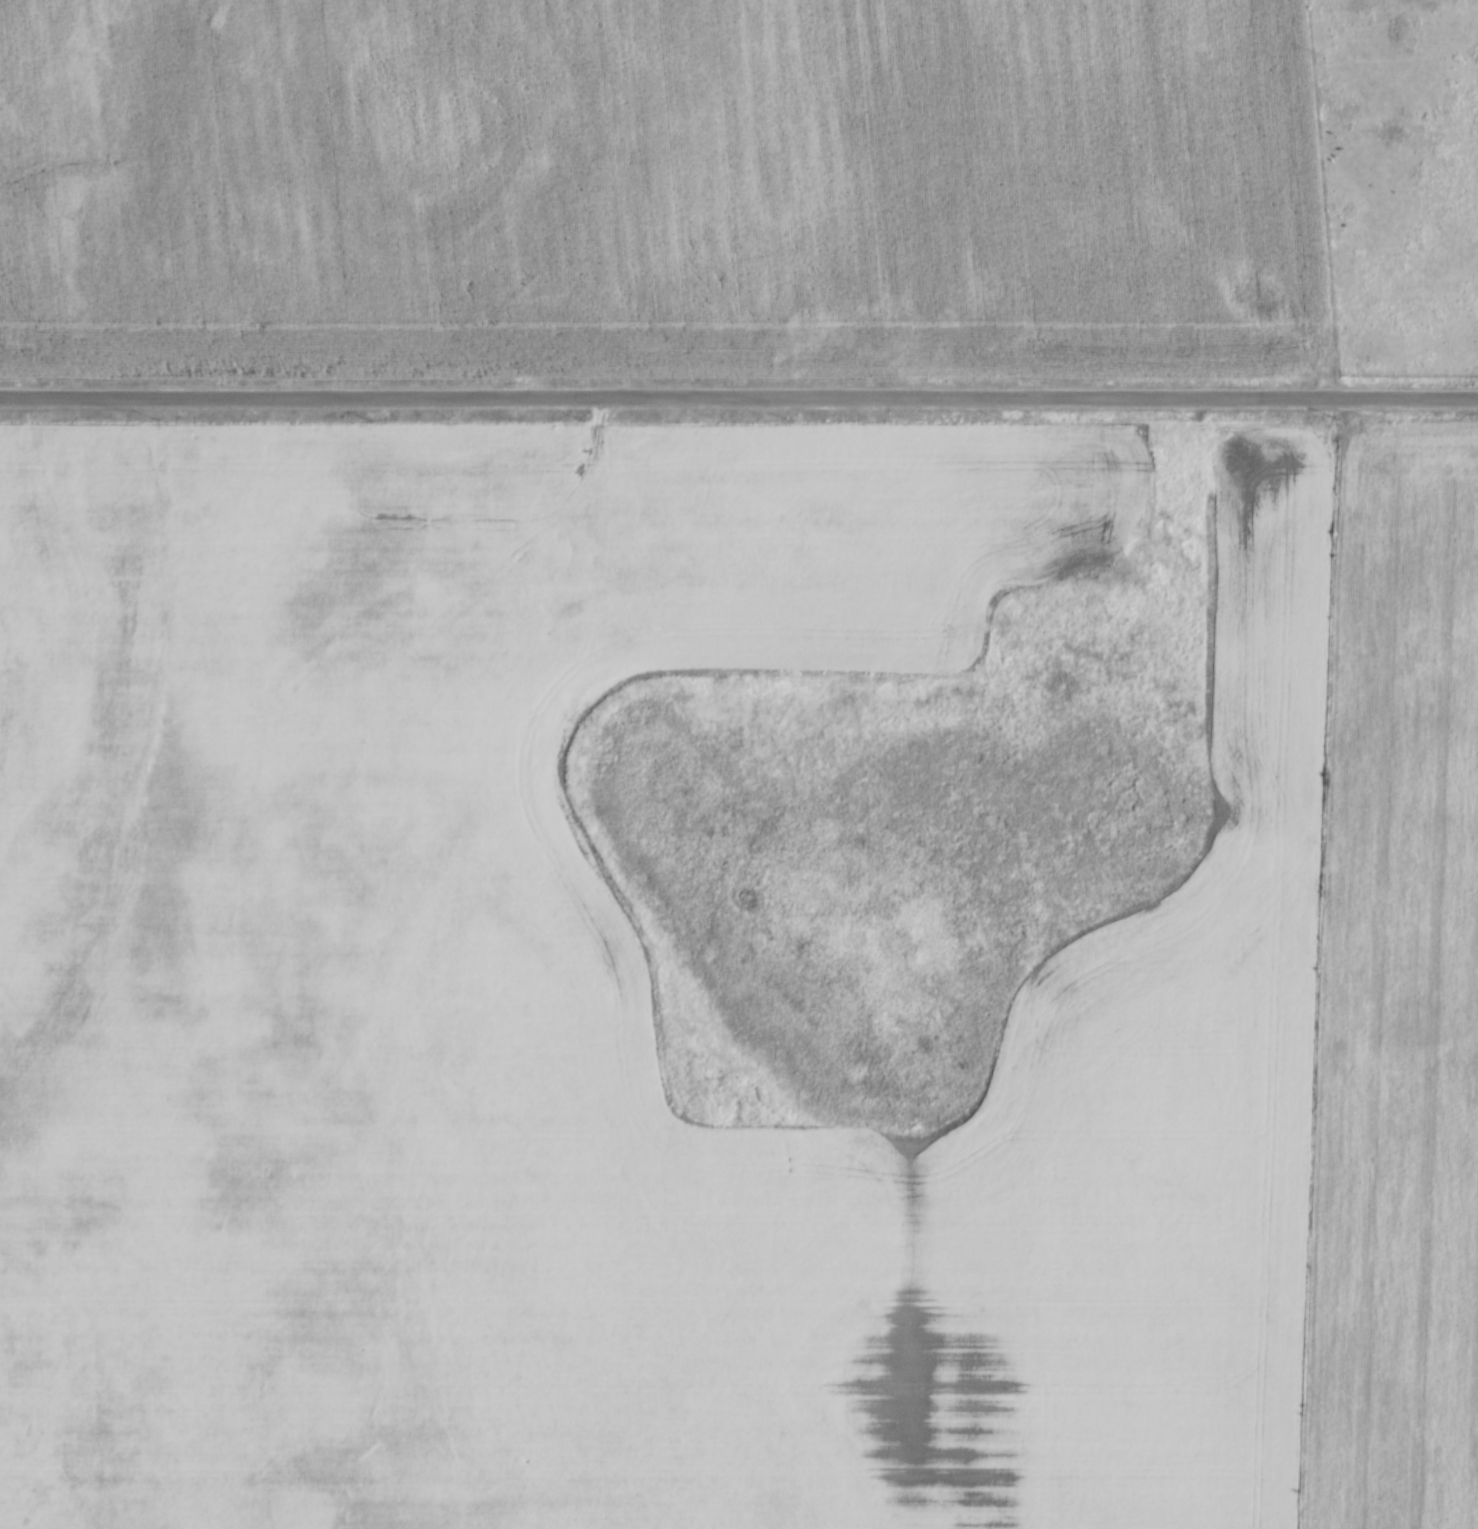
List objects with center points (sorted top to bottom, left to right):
road: (739, 399)

